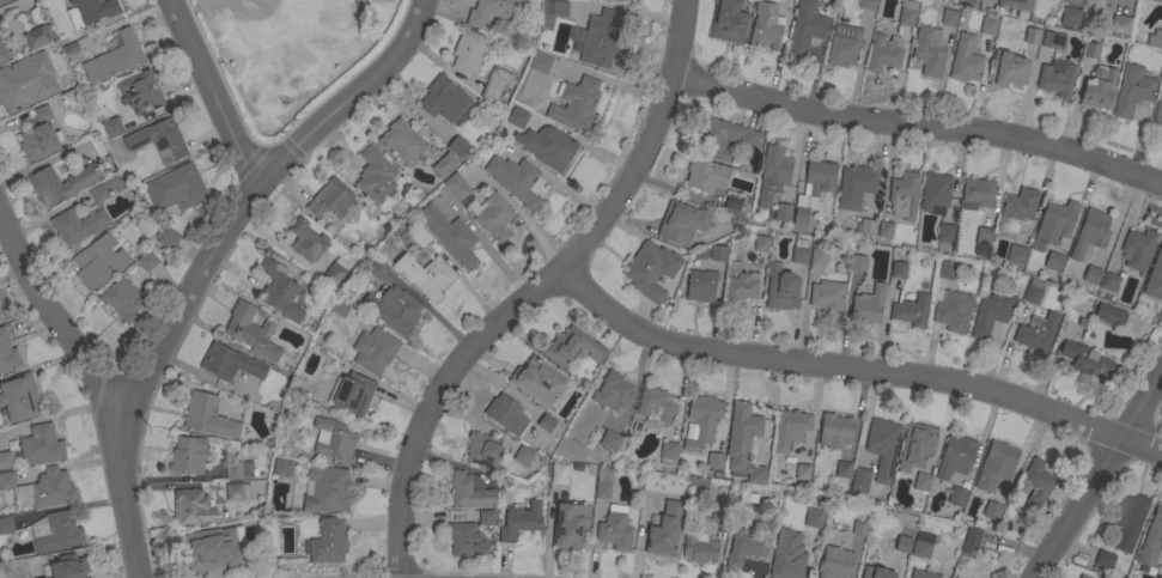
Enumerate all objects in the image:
building: (977, 0)
building: (1161, 0)
building: (4, 1)
building: (868, 4)
building: (1015, 4)
building: (556, 8)
building: (90, 11)
building: (492, 11)
building: (337, 12)
building: (907, 13)
building: (1070, 16)
building: (948, 17)
building: (729, 22)
building: (988, 24)
building: (1120, 24)
building: (766, 26)
building: (805, 29)
building: (1032, 35)
building: (38, 36)
building: (600, 38)
building: (1053, 39)
building: (1152, 41)
building: (68, 45)
building: (844, 45)
building: (1091, 50)
building: (2, 51)
building: (469, 51)
building: (929, 51)
building: (883, 53)
building: (114, 56)
building: (966, 60)
building: (540, 62)
building: (287, 67)
building: (1008, 69)
building: (1057, 78)
building: (20, 83)
building: (497, 84)
building: (1099, 87)
building: (1132, 90)
building: (140, 92)
road: (214, 93)
building: (444, 99)
building: (574, 103)
building: (1158, 110)
building: (513, 118)
road: (920, 126)
building: (111, 127)
building: (39, 135)
building: (158, 140)
building: (728, 140)
building: (402, 141)
building: (522, 141)
building: (456, 146)
building: (553, 150)
building: (444, 165)
building: (773, 174)
building: (375, 175)
building: (706, 175)
building: (515, 180)
building: (856, 185)
building: (456, 187)
building: (104, 188)
building: (176, 188)
building: (55, 190)
building: (813, 190)
building: (935, 193)
building: (975, 194)
building: (904, 195)
road: (249, 199)
building: (330, 199)
building: (735, 205)
building: (1018, 205)
building: (783, 212)
building: (494, 217)
building: (1055, 221)
building: (681, 224)
building: (77, 225)
building: (866, 227)
building: (884, 229)
building: (945, 232)
building: (1090, 232)
building: (450, 236)
building: (420, 237)
building: (168, 238)
building: (306, 239)
building: (981, 241)
building: (760, 243)
building: (799, 251)
building: (1136, 251)
building: (718, 254)
building: (1015, 254)
building: (817, 257)
building: (146, 260)
building: (1053, 261)
building: (858, 262)
building: (93, 266)
building: (378, 269)
building: (650, 269)
building: (898, 269)
building: (945, 269)
building: (334, 273)
building: (424, 275)
building: (1091, 275)
building: (1155, 278)
building: (1111, 281)
building: (700, 285)
building: (742, 286)
building: (780, 288)
road: (539, 290)
building: (279, 291)
building: (1033, 291)
building: (122, 298)
building: (827, 298)
building: (868, 304)
building: (1081, 304)
building: (393, 309)
building: (911, 310)
building: (990, 312)
building: (954, 315)
building: (1109, 315)
building: (251, 330)
building: (1036, 331)
building: (572, 347)
building: (373, 349)
building: (7, 353)
building: (1084, 359)
building: (230, 363)
road: (856, 367)
building: (537, 381)
road: (96, 387)
building: (612, 391)
building: (353, 394)
building: (19, 397)
building: (656, 404)
building: (506, 414)
building: (209, 416)
building: (702, 420)
building: (546, 422)
building: (790, 428)
building: (835, 431)
building: (333, 440)
building: (609, 440)
building: (743, 442)
building: (39, 445)
building: (915, 445)
building: (882, 446)
building: (482, 450)
building: (668, 452)
building: (188, 455)
building: (523, 456)
building: (955, 457)
building: (5, 461)
building: (714, 461)
building: (994, 466)
building: (282, 468)
building: (238, 469)
building: (842, 469)
building: (802, 471)
building: (559, 474)
road: (1100, 475)
building: (7, 481)
building: (860, 481)
building: (603, 482)
building: (921, 482)
building: (1034, 486)
building: (51, 488)
building: (326, 489)
building: (237, 491)
building: (469, 491)
building: (956, 497)
building: (191, 506)
building: (991, 511)
building: (720, 516)
building: (486, 517)
building: (814, 518)
building: (1127, 519)
building: (519, 521)
building: (6, 524)
building: (570, 525)
building: (859, 529)
building: (232, 530)
building: (664, 530)
building: (615, 531)
building: (56, 533)
building: (836, 535)
building: (1151, 539)
building: (464, 540)
building: (971, 540)
building: (327, 541)
building: (747, 544)
building: (902, 544)
building: (923, 544)
building: (699, 546)
building: (787, 555)
building: (200, 556)
building: (1103, 559)
building: (835, 562)
building: (68, 567)
building: (876, 572)
building: (921, 574)
building: (955, 577)
building: (1078, 577)
building: (1083, 577)

